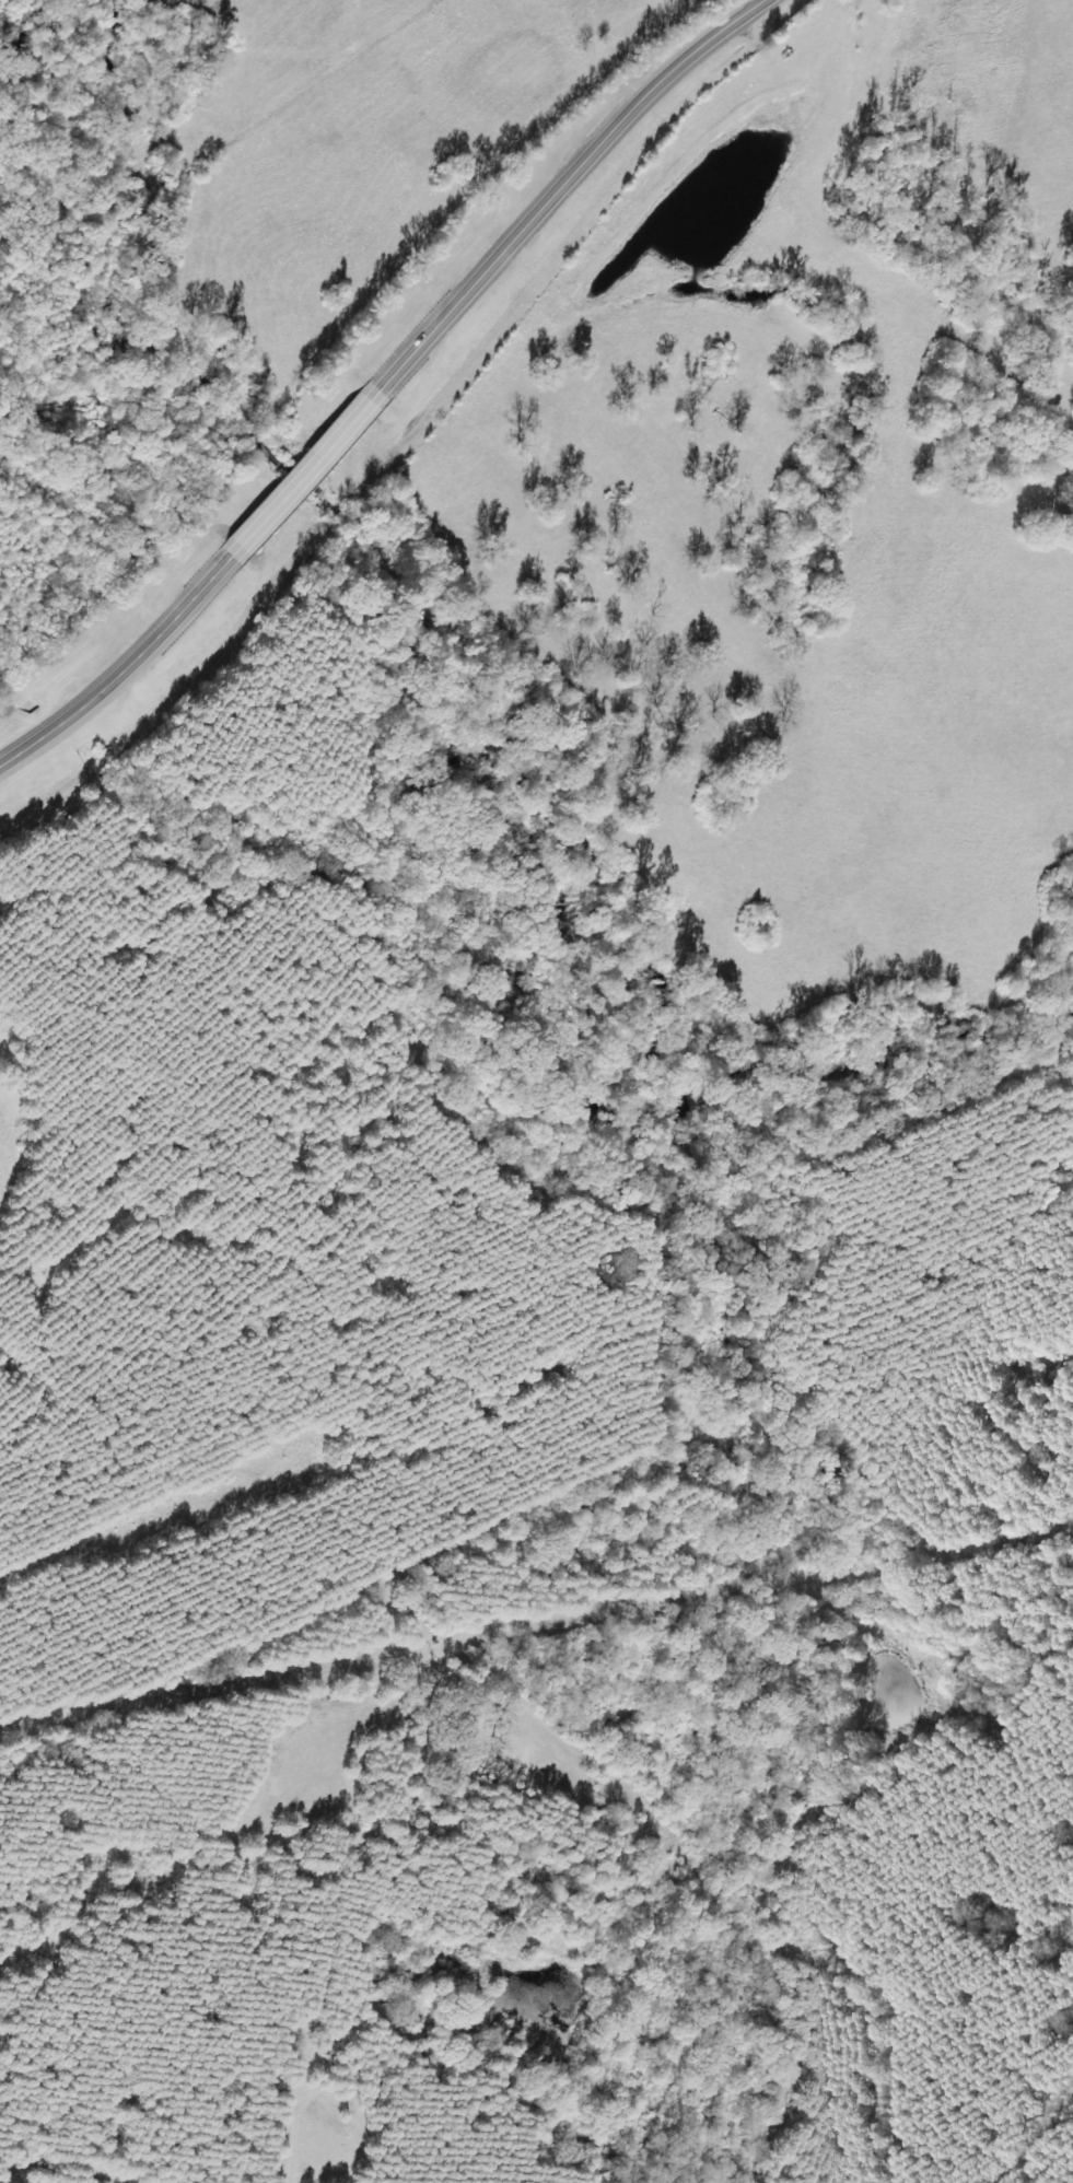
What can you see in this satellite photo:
road: (561, 186)
road: (301, 474)
road: (125, 675)

